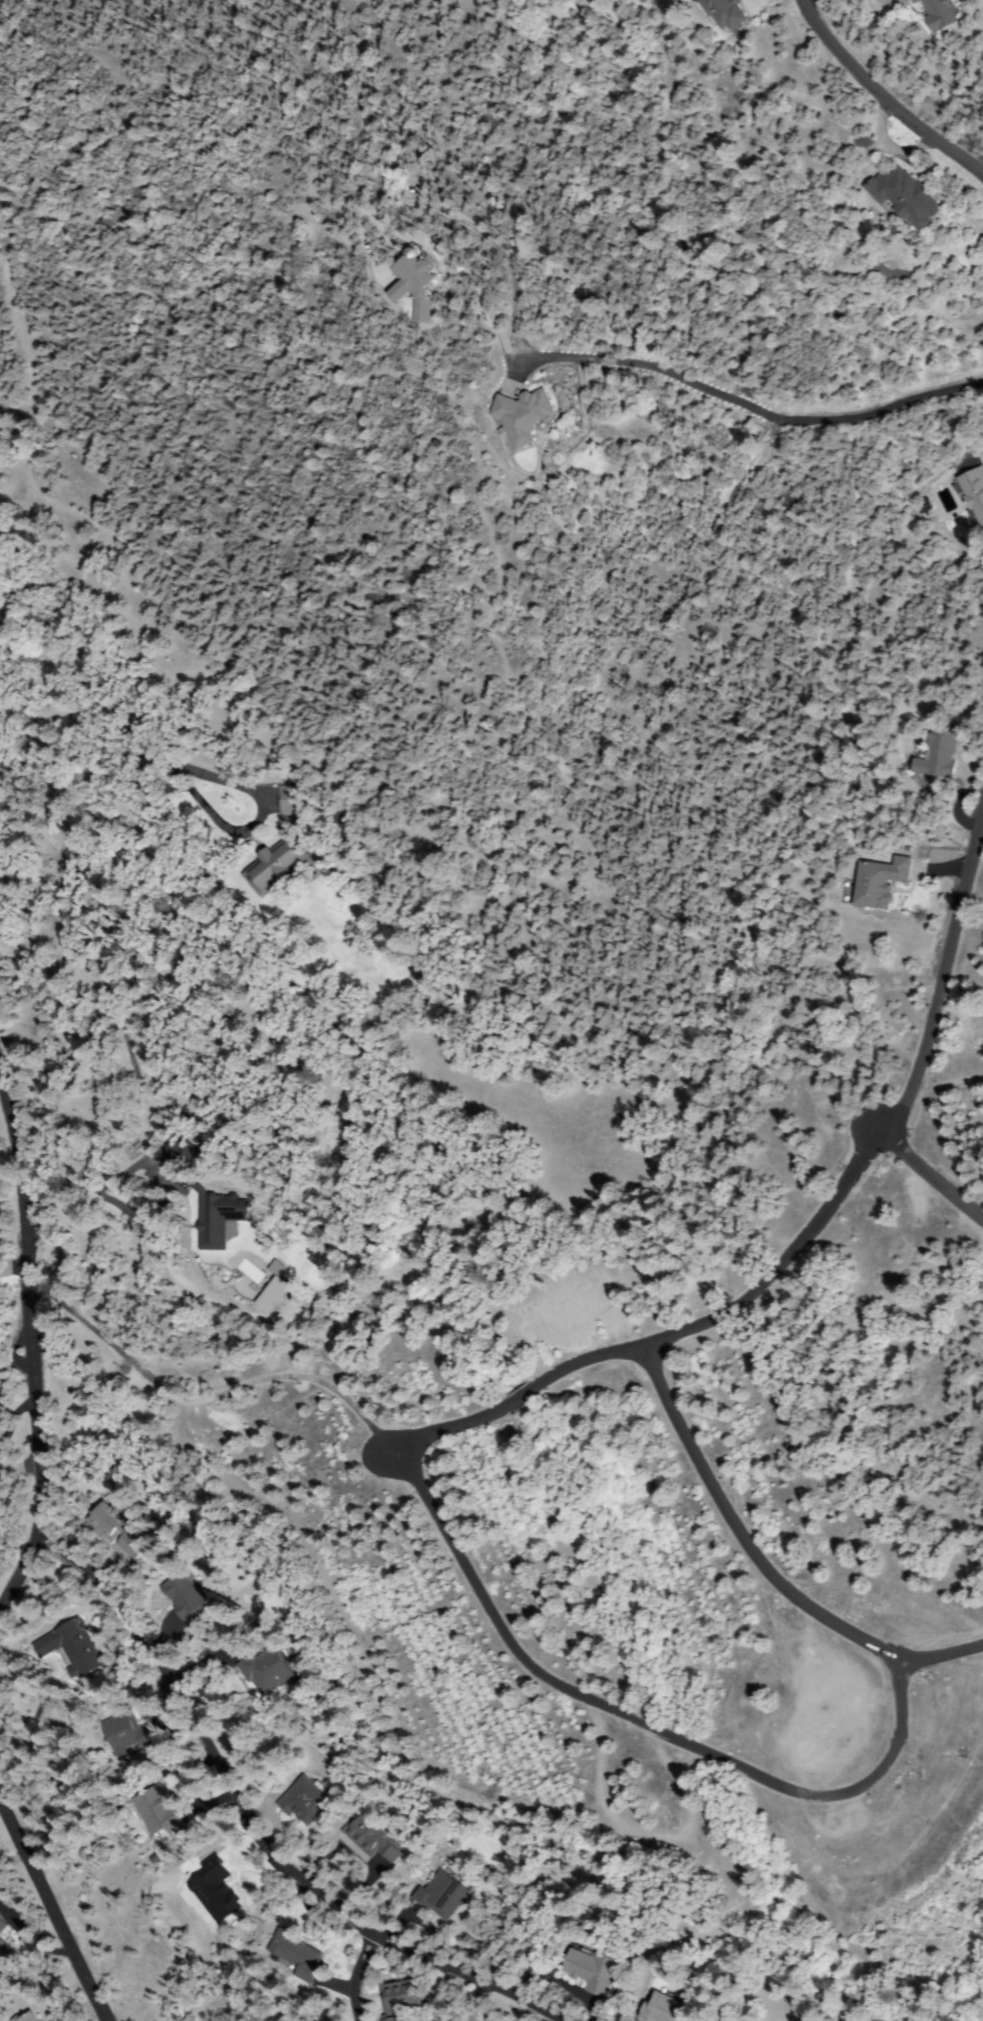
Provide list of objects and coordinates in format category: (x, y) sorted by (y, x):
building: (916, 1)
building: (723, 12)
building: (939, 13)
road: (880, 100)
building: (905, 197)
building: (416, 284)
road: (29, 373)
building: (523, 415)
building: (973, 493)
building: (938, 753)
building: (289, 800)
building: (481, 840)
building: (332, 852)
building: (275, 865)
building: (880, 882)
road: (929, 1038)
building: (179, 1153)
building: (218, 1218)
building: (271, 1288)
road: (28, 1329)
building: (116, 1526)
road: (15, 1582)
building: (185, 1596)
building: (73, 1647)
building: (267, 1670)
road: (158, 1685)
building: (127, 1734)
building: (306, 1801)
building: (156, 1811)
building: (372, 1838)
building: (213, 1889)
building: (443, 1895)
road: (298, 1896)
road: (49, 1917)
building: (3, 1926)
building: (5, 1954)
building: (298, 1954)
building: (591, 1970)
road: (355, 1983)
road: (446, 1985)
building: (399, 1999)
building: (670, 2008)
building: (27, 2017)

